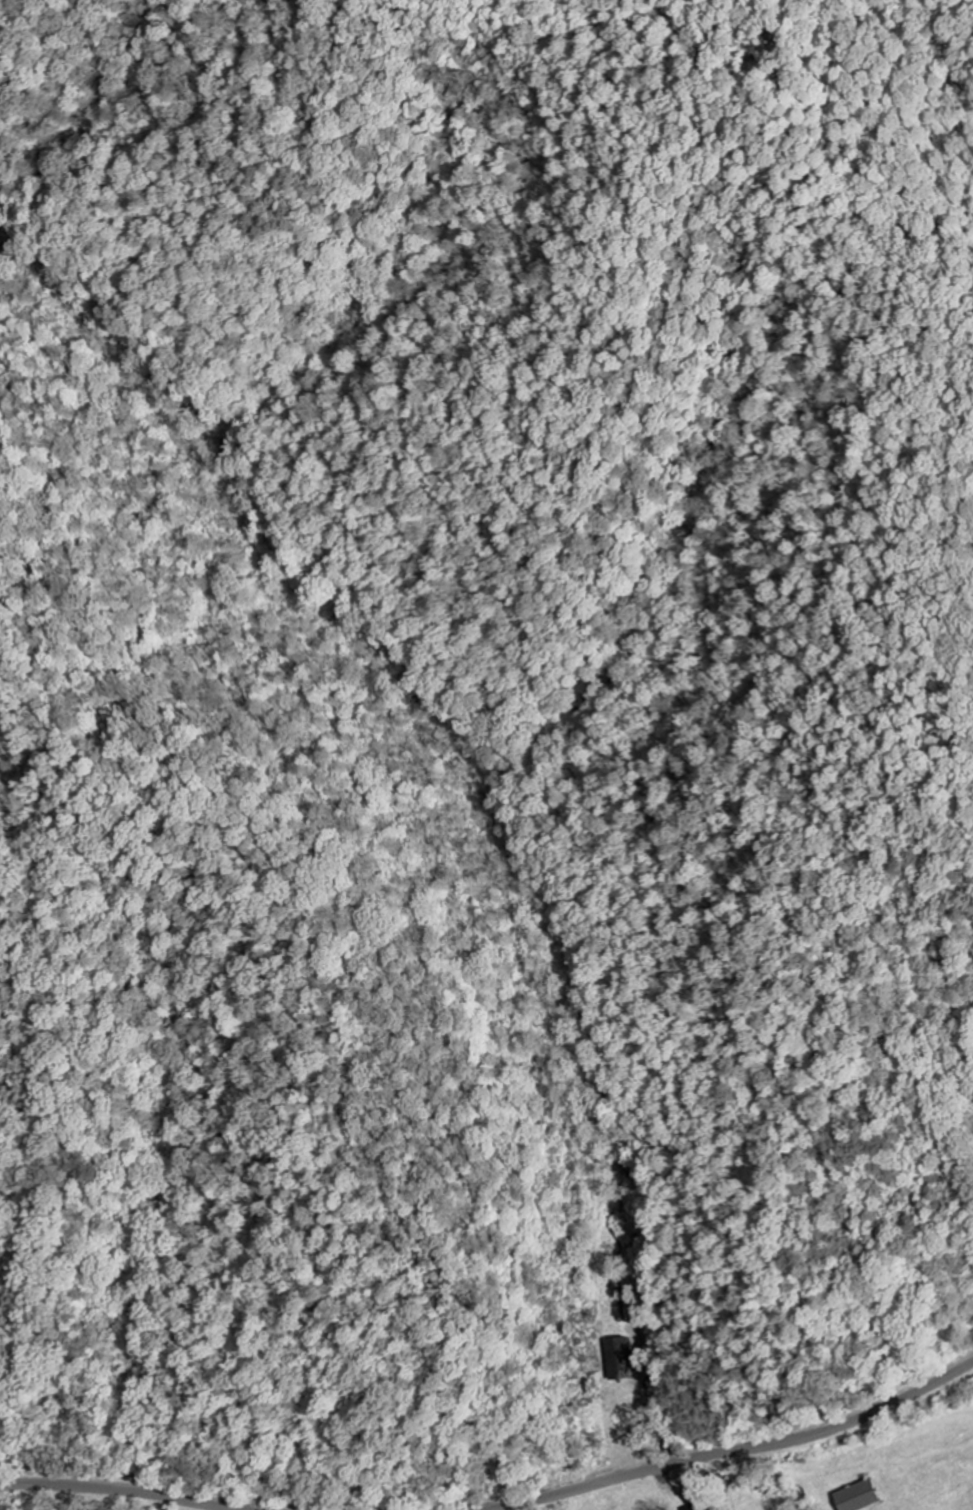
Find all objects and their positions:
building: (618, 1357)
road: (737, 1449)
road: (126, 1489)
building: (859, 1497)
road: (159, 1501)
building: (693, 1507)

